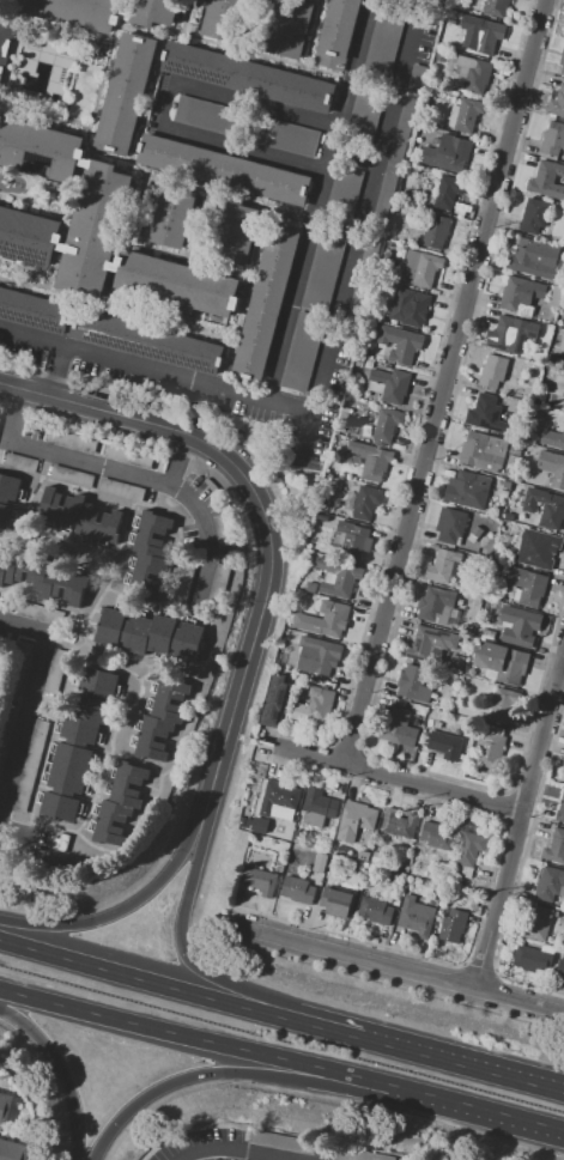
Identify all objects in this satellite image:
road: (320, 0)
building: (495, 7)
building: (105, 12)
road: (6, 13)
road: (186, 19)
building: (224, 19)
road: (56, 26)
building: (289, 28)
parking lot: (426, 30)
building: (445, 31)
building: (336, 34)
road: (313, 35)
building: (384, 38)
parking lot: (384, 38)
building: (481, 38)
building: (5, 42)
road: (235, 53)
building: (562, 60)
building: (473, 73)
building: (245, 77)
building: (417, 79)
parking lot: (417, 79)
building: (123, 93)
road: (147, 99)
road: (253, 101)
building: (557, 102)
road: (160, 104)
building: (365, 109)
parking lot: (365, 109)
road: (47, 114)
building: (465, 115)
building: (206, 116)
parking lot: (206, 116)
building: (283, 138)
parking lot: (283, 138)
building: (553, 139)
building: (38, 148)
road: (238, 153)
building: (448, 154)
building: (394, 164)
parking lot: (394, 164)
building: (224, 170)
building: (547, 180)
road: (78, 181)
road: (199, 184)
building: (448, 192)
building: (342, 196)
parking lot: (342, 196)
road: (317, 198)
road: (35, 202)
road: (364, 205)
building: (171, 213)
building: (533, 215)
building: (93, 229)
building: (232, 232)
building: (436, 232)
building: (30, 237)
building: (533, 259)
building: (323, 268)
parking lot: (323, 268)
building: (422, 269)
building: (363, 279)
parking lot: (363, 279)
building: (177, 284)
road: (25, 285)
road: (244, 294)
building: (521, 294)
building: (266, 296)
building: (556, 296)
building: (408, 308)
building: (32, 311)
road: (154, 321)
building: (502, 333)
building: (545, 333)
building: (146, 341)
building: (400, 344)
parking lot: (18, 348)
building: (302, 352)
parking lot: (302, 352)
building: (550, 360)
road: (132, 363)
building: (563, 363)
road: (57, 371)
building: (492, 371)
building: (510, 382)
road: (443, 383)
building: (389, 384)
parking lot: (178, 393)
building: (563, 393)
building: (528, 397)
road: (287, 403)
parking lot: (327, 409)
building: (481, 411)
road: (116, 415)
building: (386, 424)
road: (304, 437)
building: (552, 438)
building: (71, 442)
building: (514, 449)
building: (483, 450)
building: (129, 456)
building: (368, 460)
road: (175, 461)
building: (511, 461)
building: (19, 463)
building: (552, 467)
road: (122, 472)
building: (71, 476)
building: (505, 485)
building: (466, 490)
building: (120, 491)
building: (504, 493)
building: (8, 502)
building: (366, 502)
building: (323, 508)
building: (545, 508)
building: (85, 515)
building: (508, 516)
building: (321, 517)
building: (495, 523)
building: (450, 526)
building: (222, 532)
building: (477, 532)
building: (153, 536)
building: (353, 540)
building: (538, 548)
building: (444, 567)
building: (336, 577)
building: (37, 578)
building: (183, 581)
building: (218, 585)
building: (527, 585)
building: (309, 587)
building: (436, 605)
building: (38, 613)
building: (325, 620)
building: (523, 627)
building: (466, 628)
building: (152, 633)
building: (487, 634)
building: (430, 642)
road: (250, 644)
building: (321, 654)
building: (502, 661)
building: (456, 662)
building: (0, 663)
building: (18, 667)
building: (55, 673)
building: (413, 682)
building: (275, 700)
building: (319, 704)
building: (503, 704)
road: (30, 706)
building: (162, 718)
building: (436, 724)
building: (4, 728)
building: (396, 728)
building: (78, 745)
building: (444, 745)
building: (489, 749)
building: (462, 758)
building: (30, 767)
building: (563, 775)
road: (404, 782)
building: (121, 795)
building: (278, 800)
building: (316, 807)
building: (560, 812)
building: (356, 818)
road: (518, 818)
building: (242, 821)
building: (399, 824)
building: (259, 825)
building: (438, 836)
building: (298, 837)
building: (556, 848)
building: (468, 854)
building: (363, 855)
building: (376, 857)
building: (319, 863)
building: (260, 881)
building: (550, 885)
building: (298, 891)
building: (338, 903)
building: (375, 911)
road: (114, 913)
building: (416, 917)
building: (536, 924)
building: (453, 927)
building: (532, 959)
building: (560, 968)
road: (402, 970)
road: (213, 976)
road: (180, 990)
road: (193, 1039)
road: (462, 1061)
road: (61, 1073)
road: (222, 1073)
building: (8, 1111)
road: (474, 1111)
building: (278, 1141)
building: (12, 1150)
road: (236, 1152)
building: (353, 1154)

